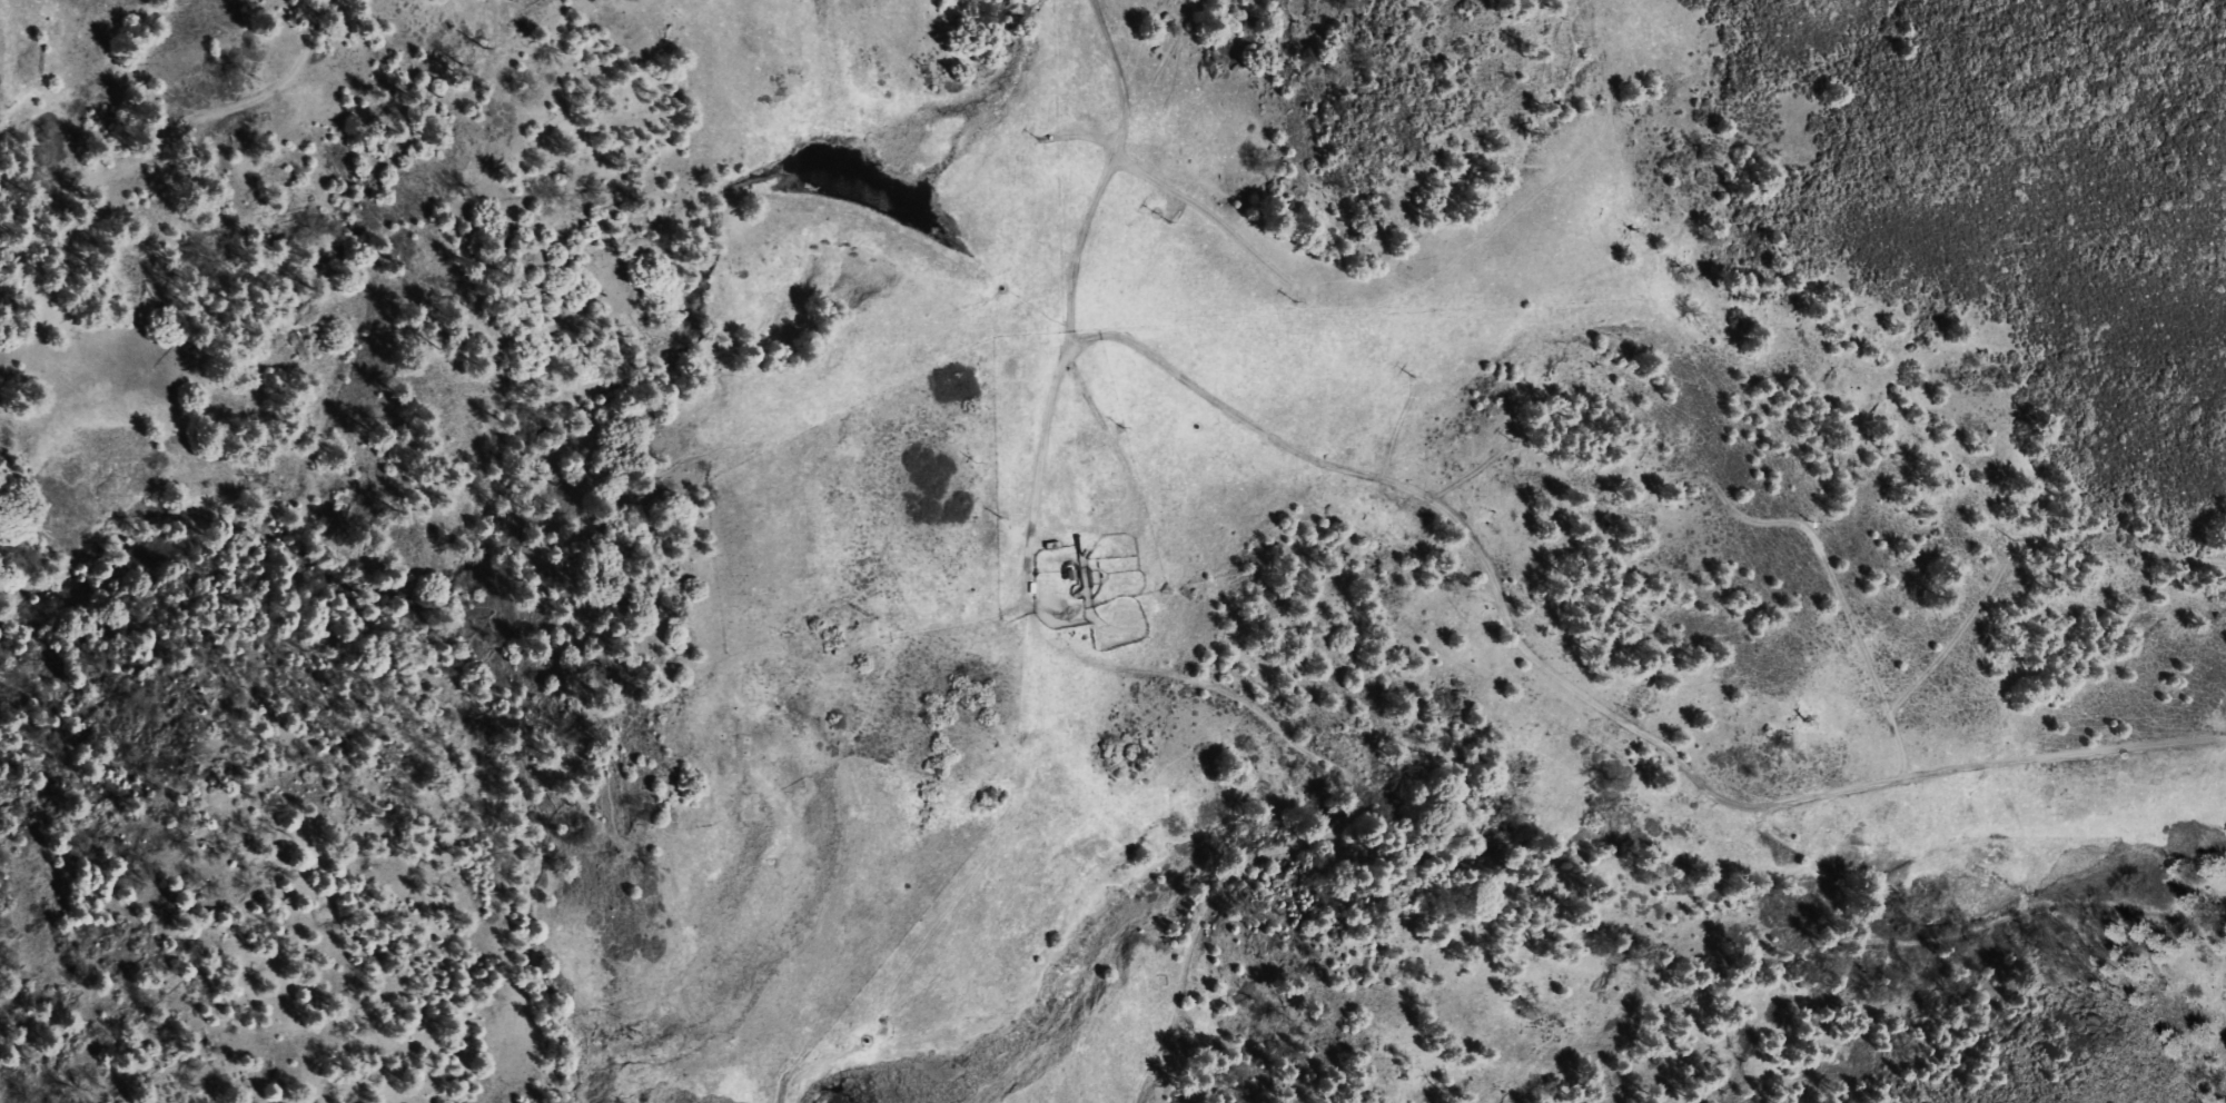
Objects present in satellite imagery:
road: (1095, 662)

